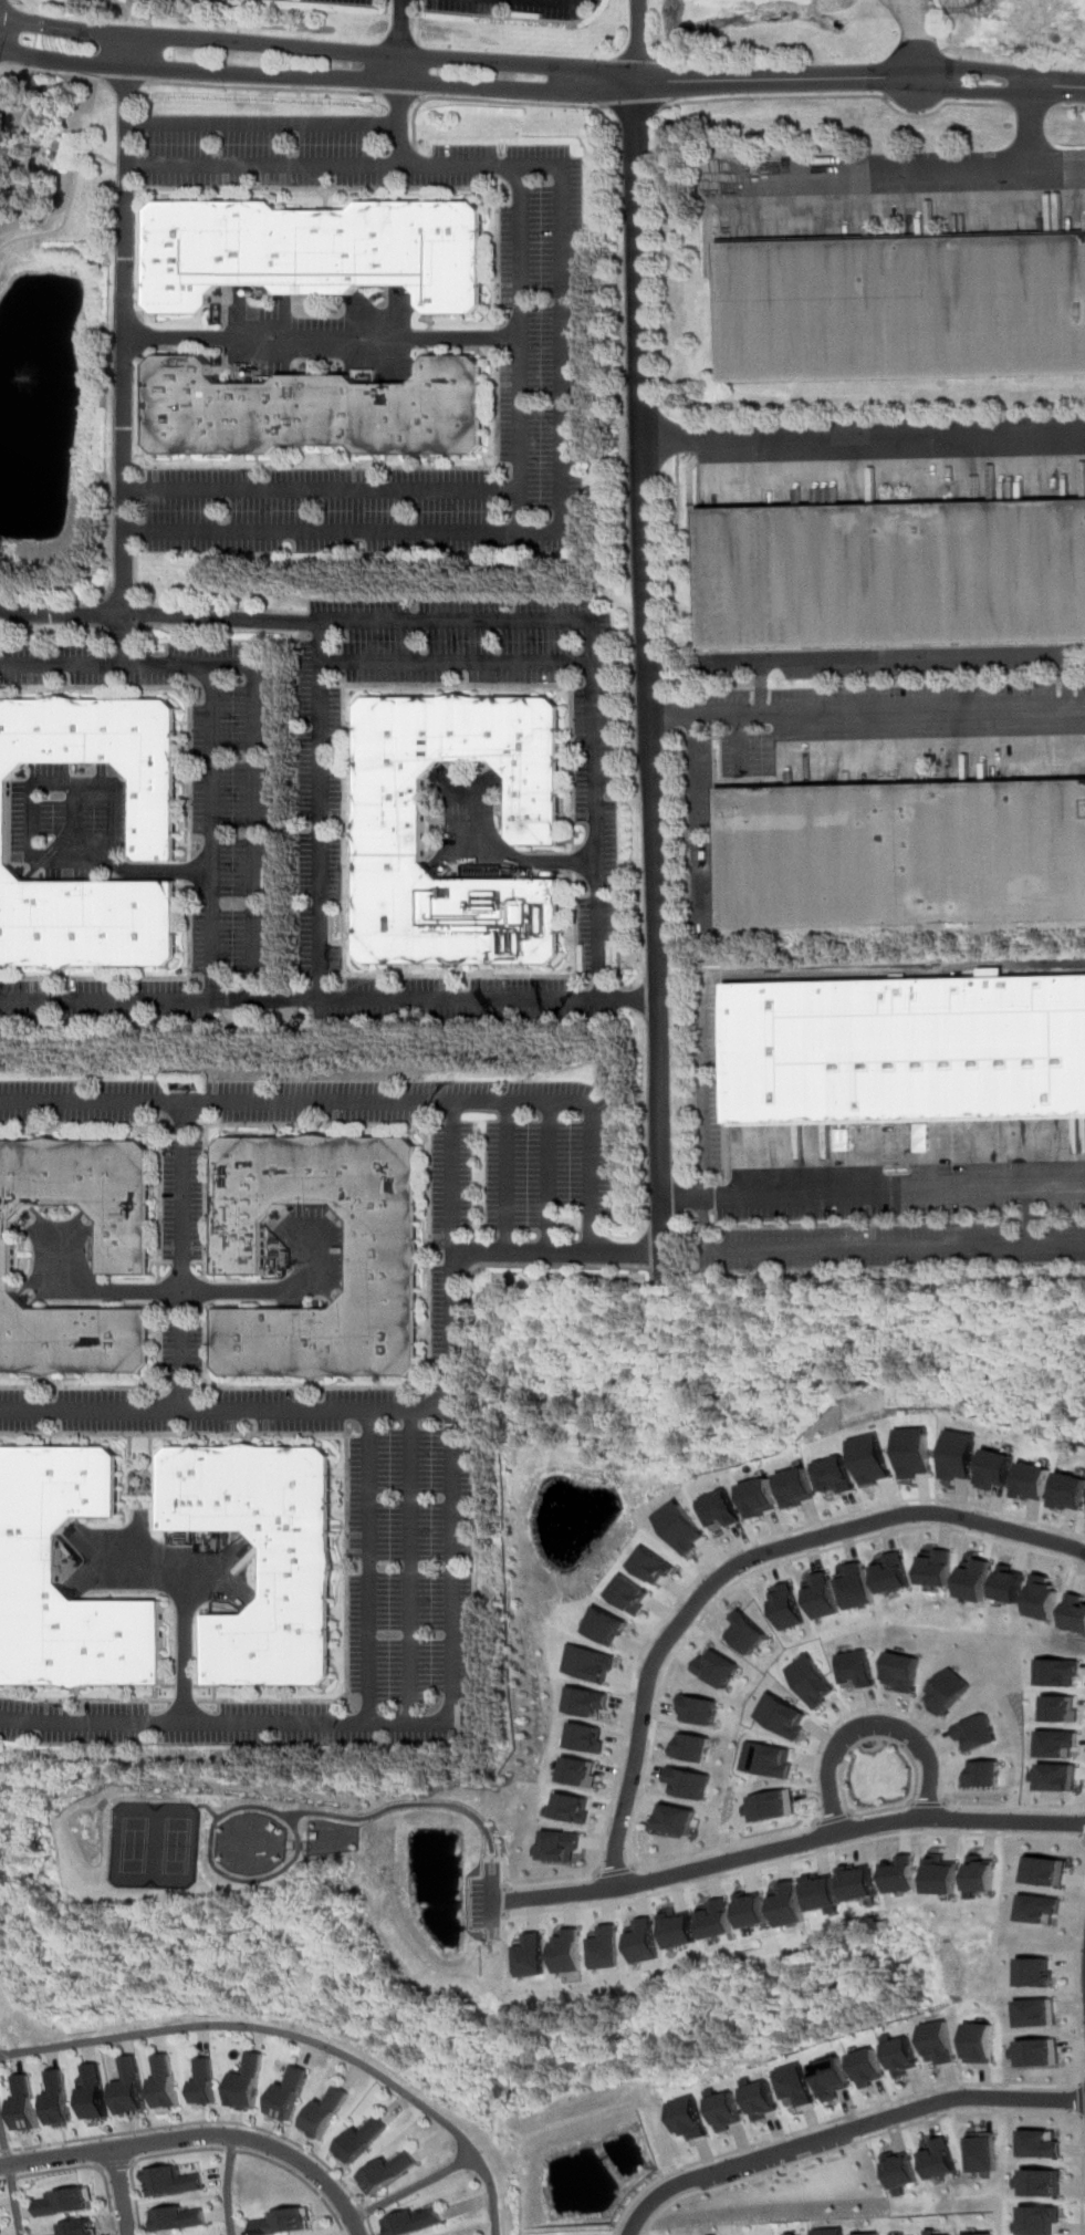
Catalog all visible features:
parking lot: (596, 1)
parking lot: (354, 2)
parking lot: (514, 8)
power tower: (1003, 10)
road: (144, 11)
traffic signals: (7, 19)
road: (919, 37)
road: (291, 46)
road: (400, 62)
road: (290, 75)
road: (833, 77)
road: (97, 81)
road: (127, 84)
road: (264, 89)
road: (399, 95)
road: (843, 98)
road: (512, 102)
road: (1031, 107)
road: (633, 108)
road: (1067, 110)
road: (414, 122)
road: (285, 124)
road: (1035, 126)
parking lot: (263, 150)
road: (100, 155)
road: (414, 159)
road: (79, 162)
road: (893, 173)
building: (314, 253)
building: (904, 311)
parking lot: (533, 328)
road: (323, 339)
road: (126, 340)
road: (518, 349)
road: (562, 353)
building: (314, 413)
road: (864, 435)
road: (345, 488)
parking lot: (327, 510)
building: (896, 578)
road: (126, 601)
road: (62, 605)
road: (198, 607)
road: (152, 612)
road: (104, 613)
road: (158, 615)
road: (108, 632)
road: (124, 632)
road: (139, 638)
road: (125, 640)
road: (647, 641)
road: (911, 657)
road: (733, 661)
road: (455, 662)
road: (592, 673)
road: (257, 704)
road: (778, 711)
road: (671, 714)
road: (742, 742)
parking lot: (750, 753)
parking lot: (205, 779)
road: (80, 783)
parking lot: (321, 802)
building: (390, 810)
road: (319, 812)
building: (157, 817)
parking lot: (72, 821)
road: (73, 823)
parking lot: (596, 831)
road: (209, 833)
parking lot: (701, 838)
building: (906, 854)
road: (490, 863)
parking lot: (465, 998)
road: (328, 1000)
parking lot: (104, 1001)
building: (908, 1050)
road: (211, 1052)
parking lot: (707, 1073)
parking lot: (76, 1100)
road: (590, 1111)
parking lot: (463, 1161)
road: (507, 1177)
road: (550, 1178)
road: (873, 1193)
parking lot: (897, 1196)
parking lot: (182, 1199)
road: (1029, 1215)
building: (385, 1247)
road: (757, 1248)
building: (125, 1249)
road: (556, 1252)
road: (180, 1256)
road: (246, 1289)
parking lot: (114, 1397)
road: (225, 1410)
road: (451, 1415)
building: (918, 1452)
building: (962, 1455)
building: (875, 1458)
building: (1001, 1469)
building: (841, 1474)
building: (1039, 1482)
building: (801, 1487)
building: (1073, 1490)
building: (763, 1497)
building: (724, 1509)
building: (682, 1527)
building: (30, 1561)
building: (654, 1565)
parking lot: (416, 1566)
road: (737, 1566)
road: (164, 1568)
road: (368, 1568)
road: (410, 1568)
building: (937, 1568)
building: (893, 1572)
building: (298, 1573)
road: (696, 1579)
building: (976, 1579)
building: (1010, 1583)
building: (856, 1587)
building: (630, 1594)
building: (822, 1595)
building: (1044, 1598)
building: (785, 1607)
building: (1075, 1613)
building: (606, 1625)
building: (741, 1632)
road: (184, 1645)
building: (587, 1662)
building: (710, 1667)
building: (855, 1667)
building: (900, 1671)
building: (1057, 1672)
building: (808, 1680)
building: (943, 1691)
building: (581, 1701)
building: (691, 1708)
building: (1060, 1709)
building: (775, 1716)
road: (865, 1725)
building: (969, 1732)
building: (580, 1736)
building: (1055, 1744)
building: (685, 1747)
road: (896, 1748)
building: (760, 1759)
building: (572, 1771)
building: (977, 1775)
building: (1054, 1777)
building: (681, 1782)
road: (926, 1802)
building: (765, 1806)
building: (564, 1808)
road: (827, 1818)
building: (672, 1819)
road: (625, 1837)
road: (289, 1839)
park: (135, 1844)
park: (176, 1846)
building: (554, 1846)
road: (787, 1846)
road: (793, 1858)
road: (612, 1871)
building: (1051, 1871)
building: (901, 1874)
building: (943, 1874)
building: (983, 1874)
building: (860, 1882)
building: (823, 1891)
road: (492, 1901)
road: (503, 1901)
building: (789, 1904)
building: (1044, 1909)
building: (751, 1910)
building: (717, 1919)
building: (679, 1929)
building: (644, 1940)
building: (606, 1946)
building: (531, 1954)
building: (567, 1956)
building: (1041, 1972)
road: (1082, 1973)
building: (1043, 2012)
road: (298, 2037)
building: (942, 2041)
building: (984, 2041)
building: (1045, 2051)
building: (905, 2055)
building: (870, 2065)
building: (835, 2078)
building: (207, 2080)
building: (167, 2082)
building: (250, 2082)
building: (800, 2085)
building: (133, 2086)
building: (96, 2091)
building: (291, 2091)
building: (60, 2097)
building: (764, 2099)
building: (24, 2102)
building: (328, 2110)
building: (729, 2110)
road: (1084, 2116)
building: (692, 2117)
road: (835, 2121)
road: (210, 2122)
road: (846, 2132)
road: (199, 2137)
building: (363, 2140)
road: (856, 2143)
building: (1043, 2143)
road: (218, 2148)
building: (984, 2152)
building: (940, 2158)
road: (114, 2163)
road: (84, 2166)
building: (390, 2170)
building: (900, 2172)
road: (8, 2176)
building: (171, 2181)
building: (1044, 2182)
road: (229, 2186)
road: (415, 2186)
road: (118, 2191)
building: (62, 2201)
building: (180, 2218)
building: (1042, 2220)
building: (417, 2221)
building: (286, 2222)
road: (1084, 2226)
building: (75, 2227)
building: (833, 2231)
building: (935, 2232)
building: (873, 2233)
building: (985, 2234)

